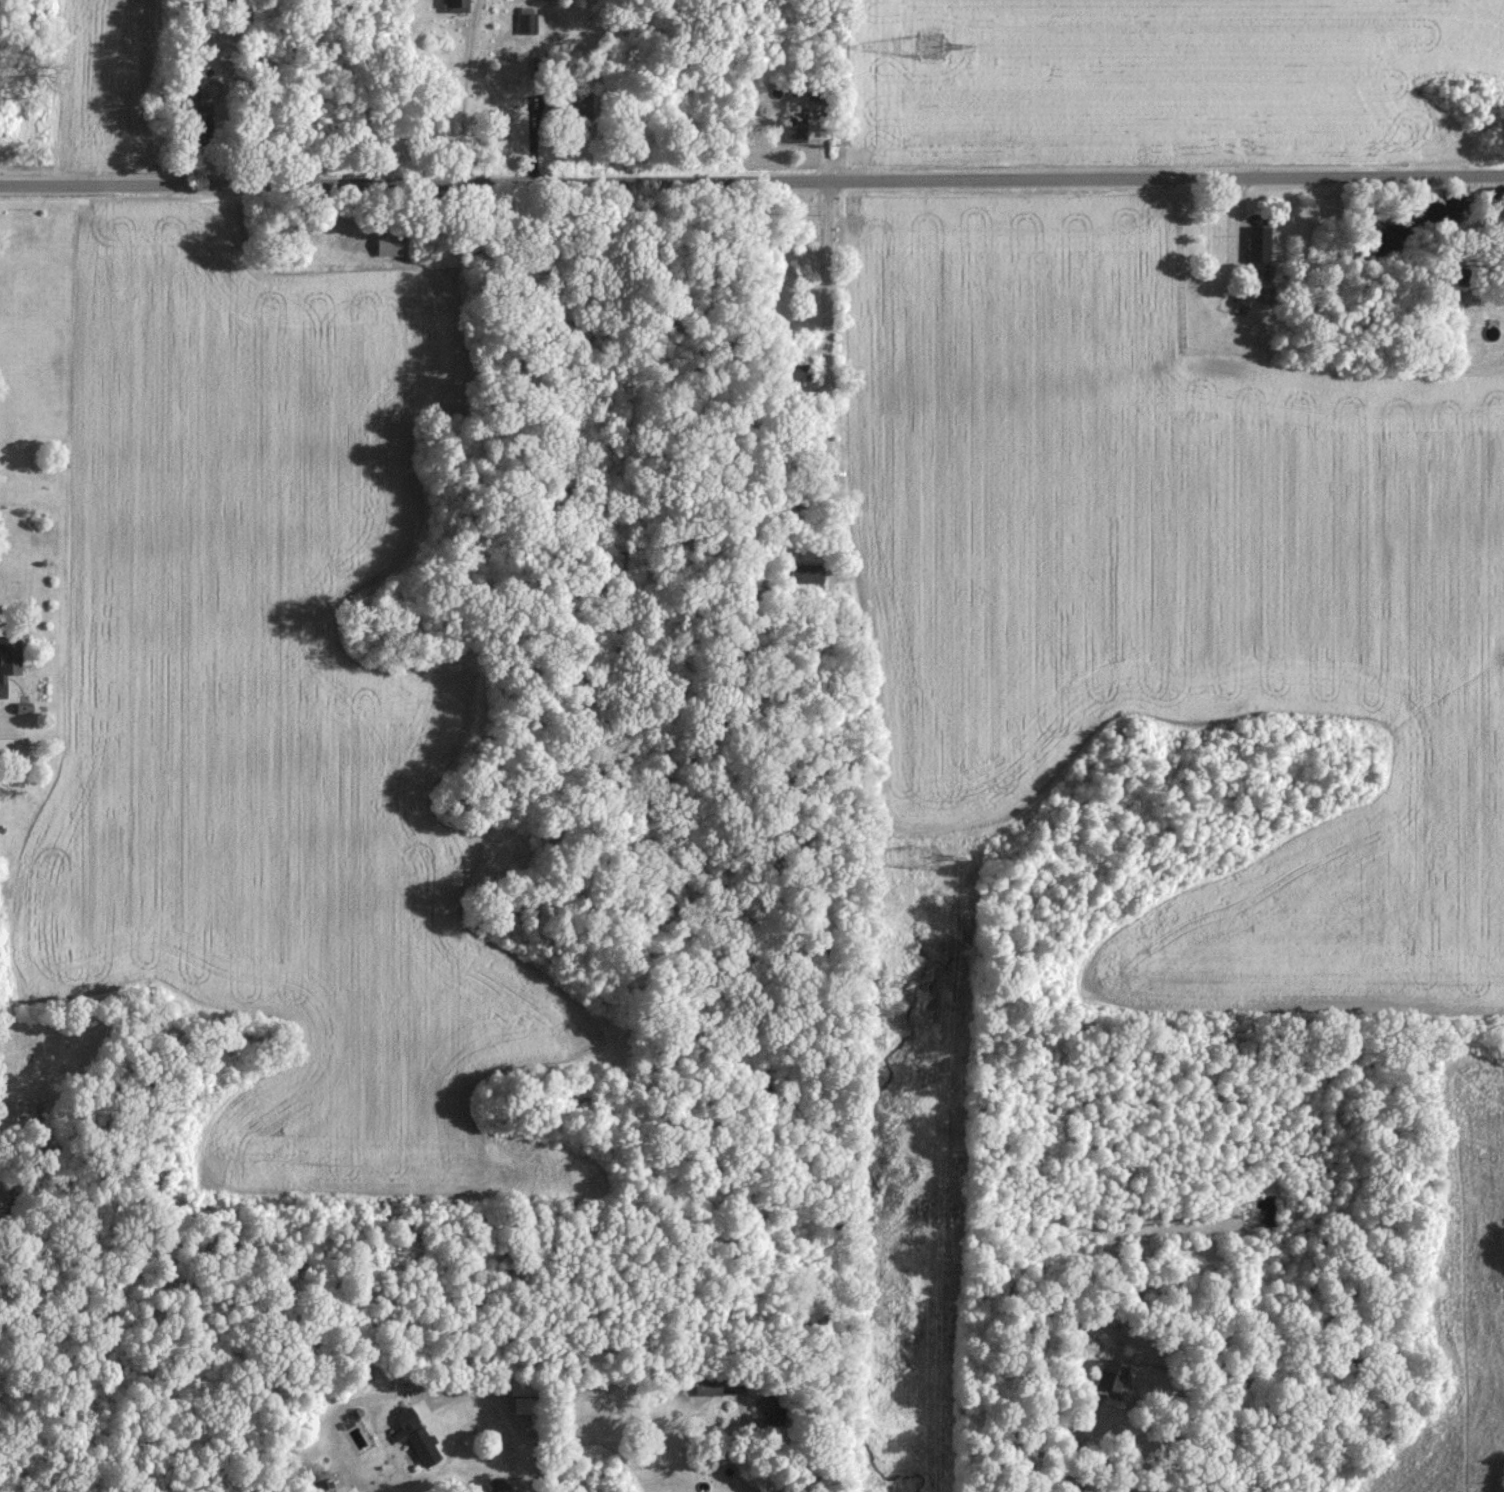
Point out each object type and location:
building: (456, 4)
building: (526, 18)
power tower: (932, 47)
road: (463, 92)
building: (796, 123)
building: (200, 128)
road: (752, 184)
building: (391, 242)
building: (1258, 242)
building: (801, 376)
road: (828, 378)
road: (369, 424)
building: (806, 573)
building: (8, 658)
building: (12, 747)
power tower: (923, 857)
building: (23, 1107)
building: (1103, 1331)
building: (1109, 1375)
building: (706, 1386)
building: (520, 1396)
building: (768, 1404)
road: (517, 1413)
building: (415, 1435)
building: (501, 1486)

